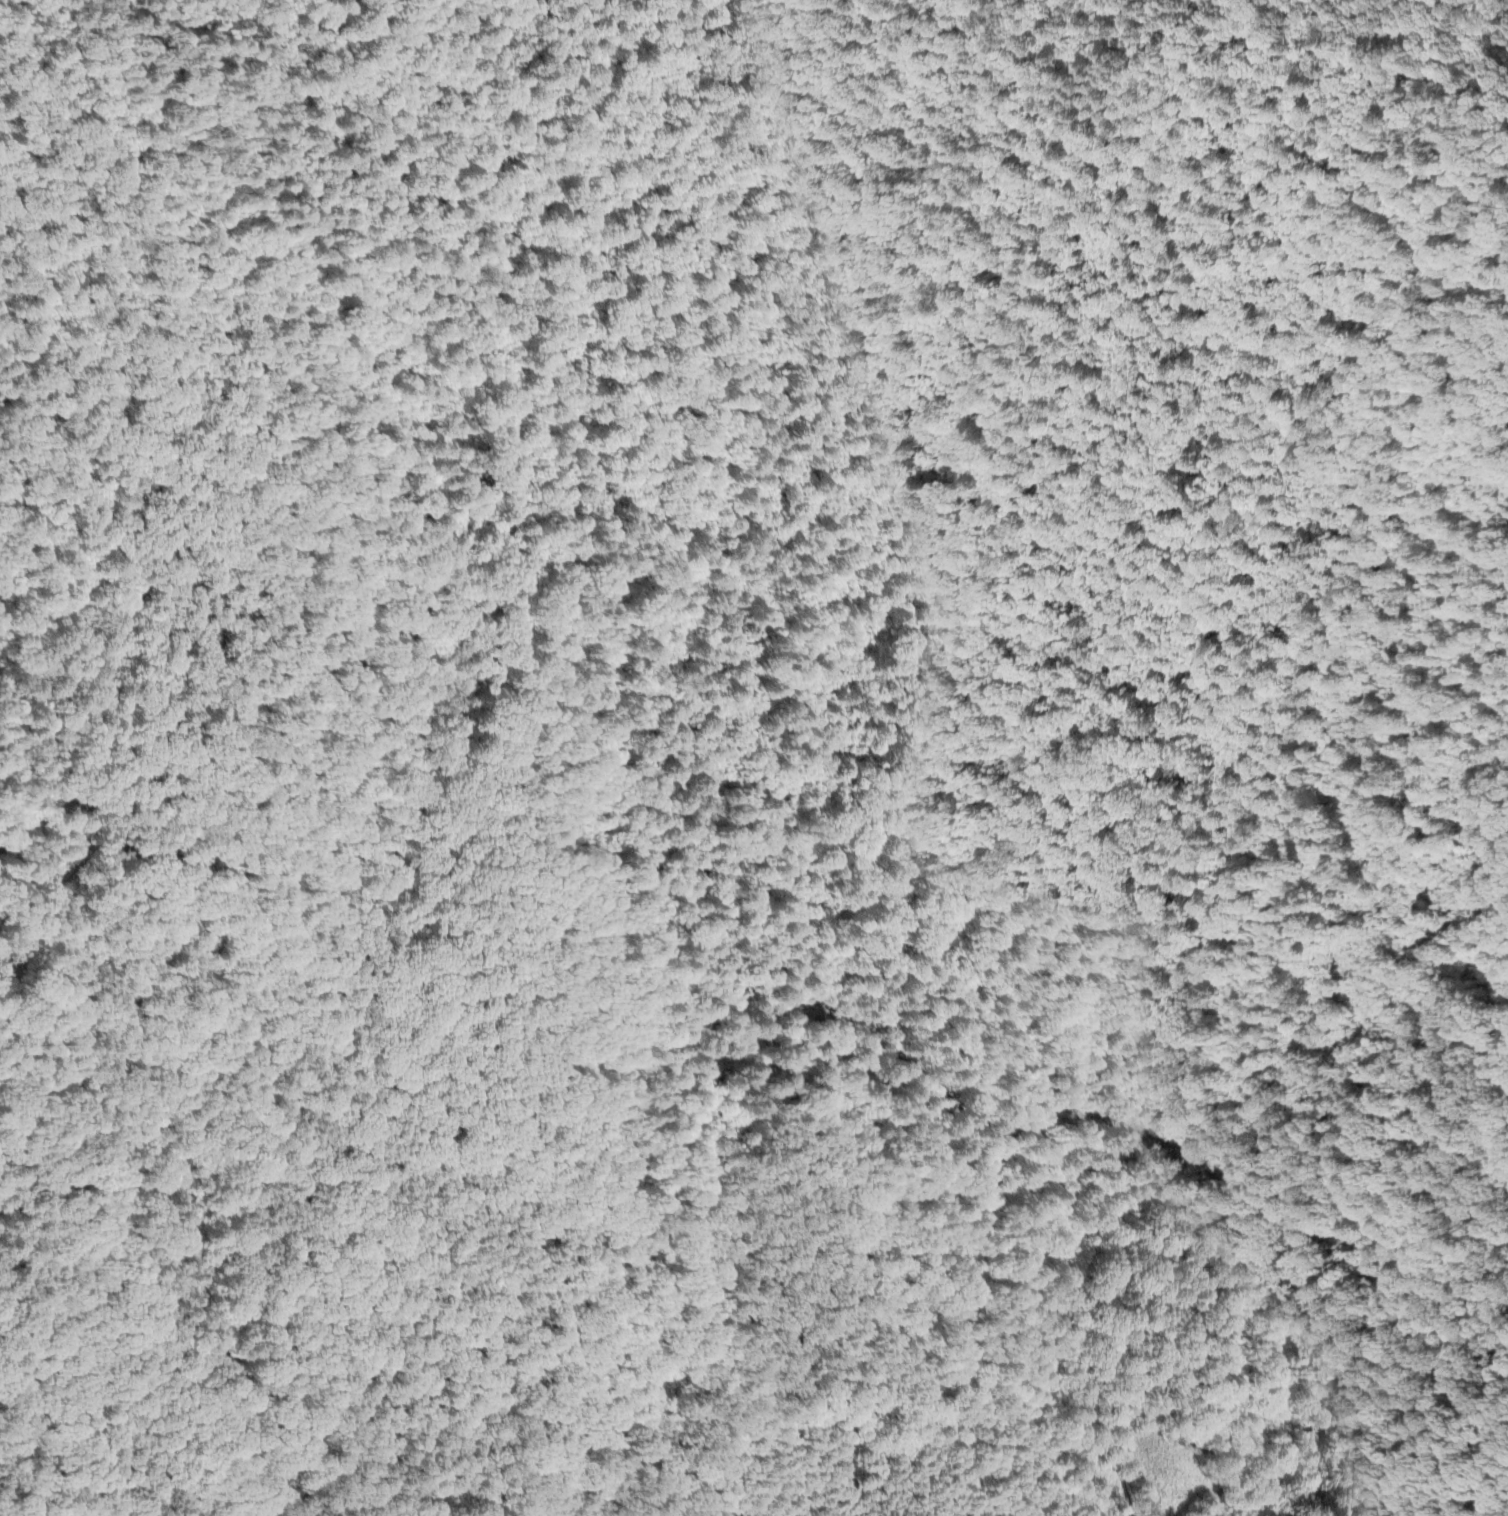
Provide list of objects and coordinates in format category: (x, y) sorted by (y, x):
road: (1085, 1486)

